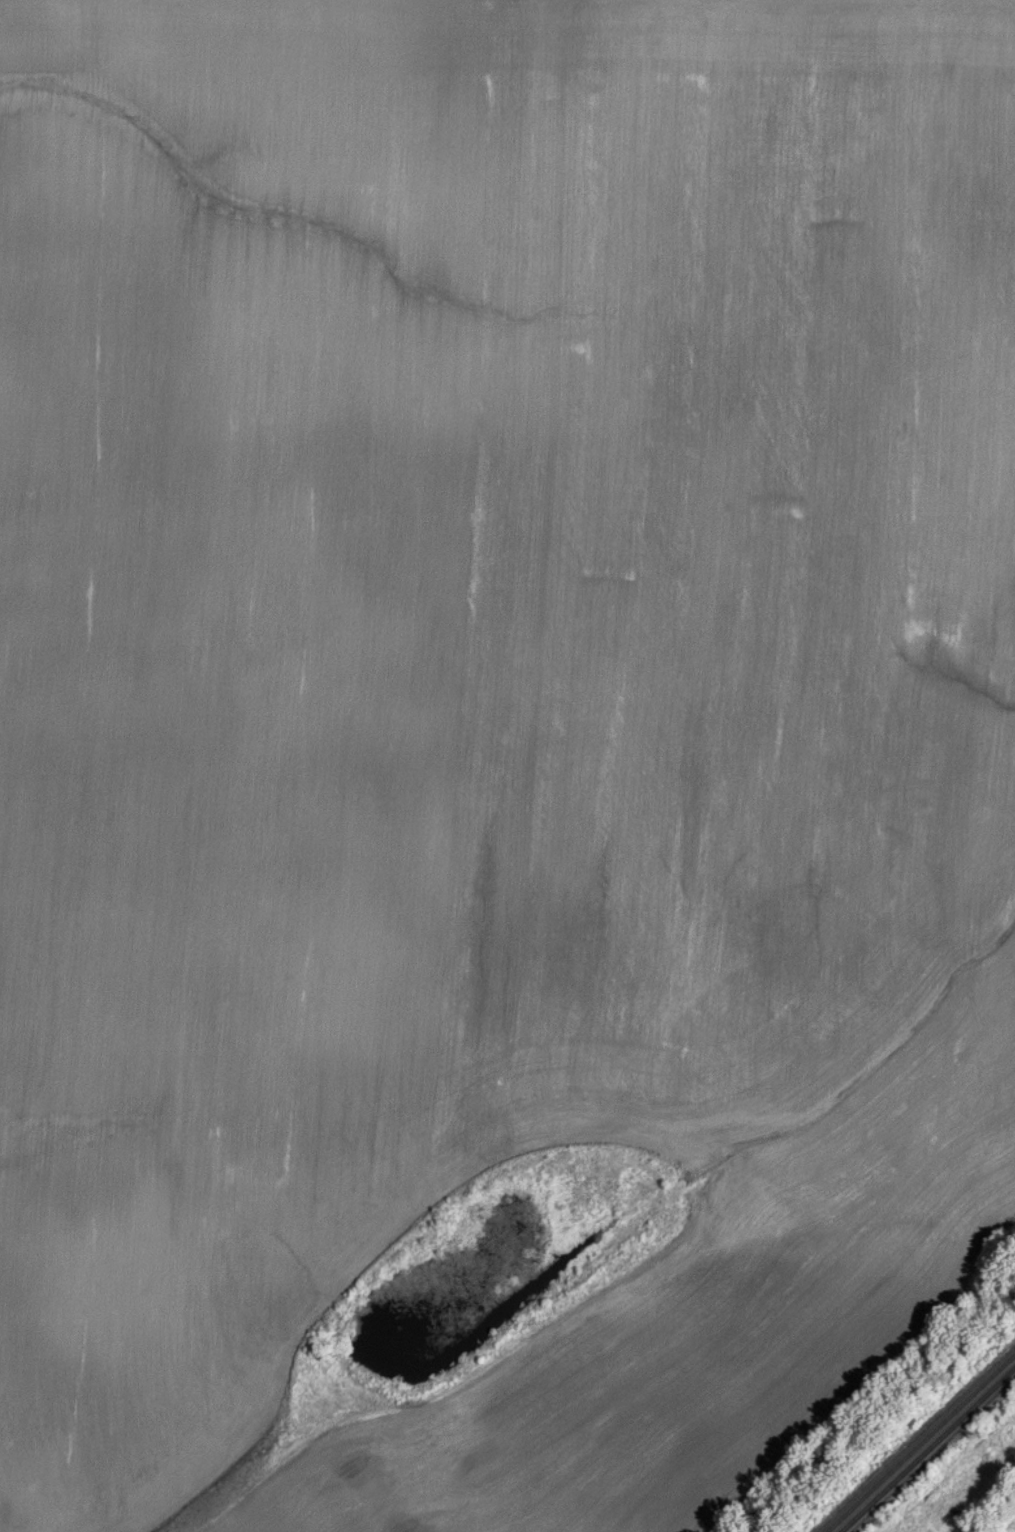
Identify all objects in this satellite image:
railway: (922, 1444)
railway: (928, 1449)

